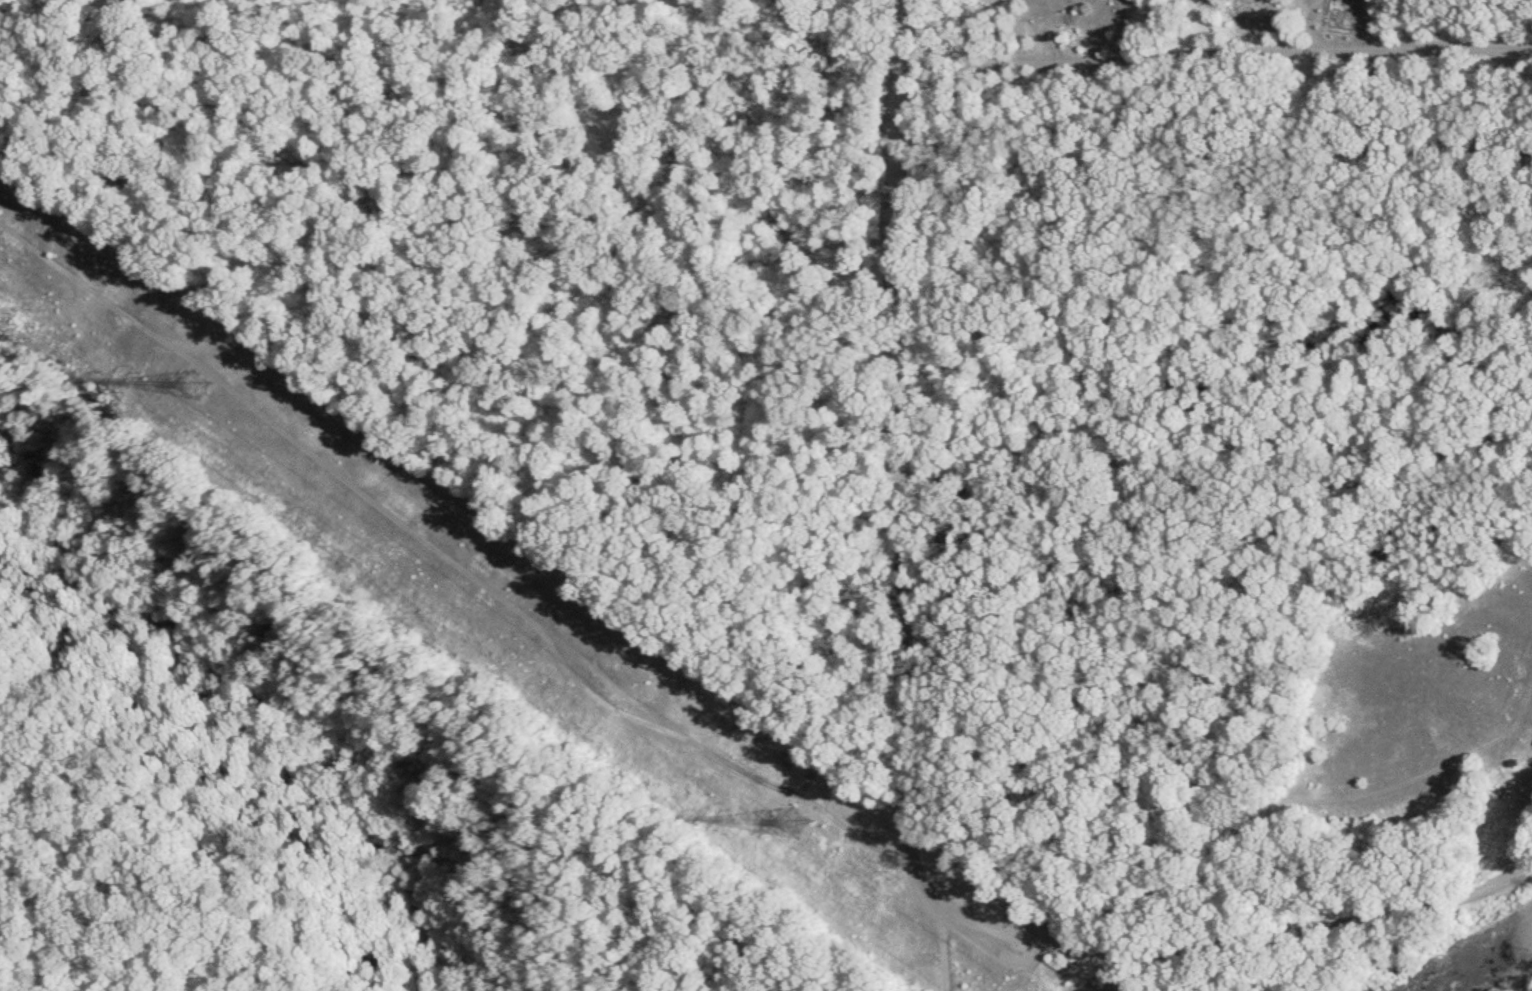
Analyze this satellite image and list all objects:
road: (1220, 52)
power tower: (197, 382)
road: (910, 767)
power tower: (798, 815)
road: (944, 953)

